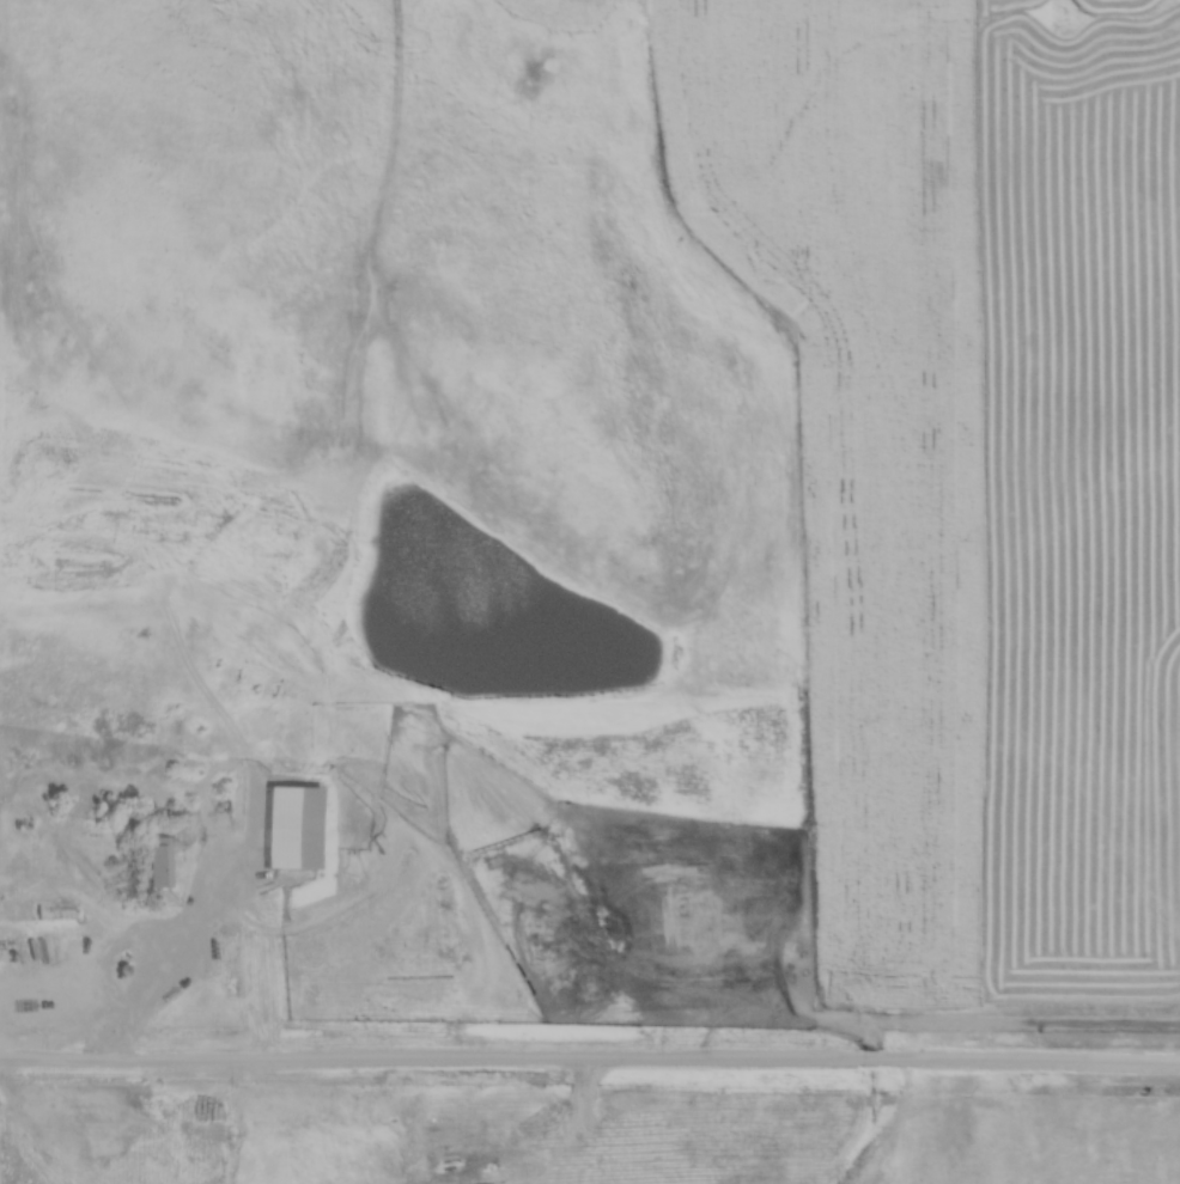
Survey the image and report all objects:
building: (224, 808)
building: (310, 823)
building: (163, 862)
road: (158, 959)
road: (589, 1056)

